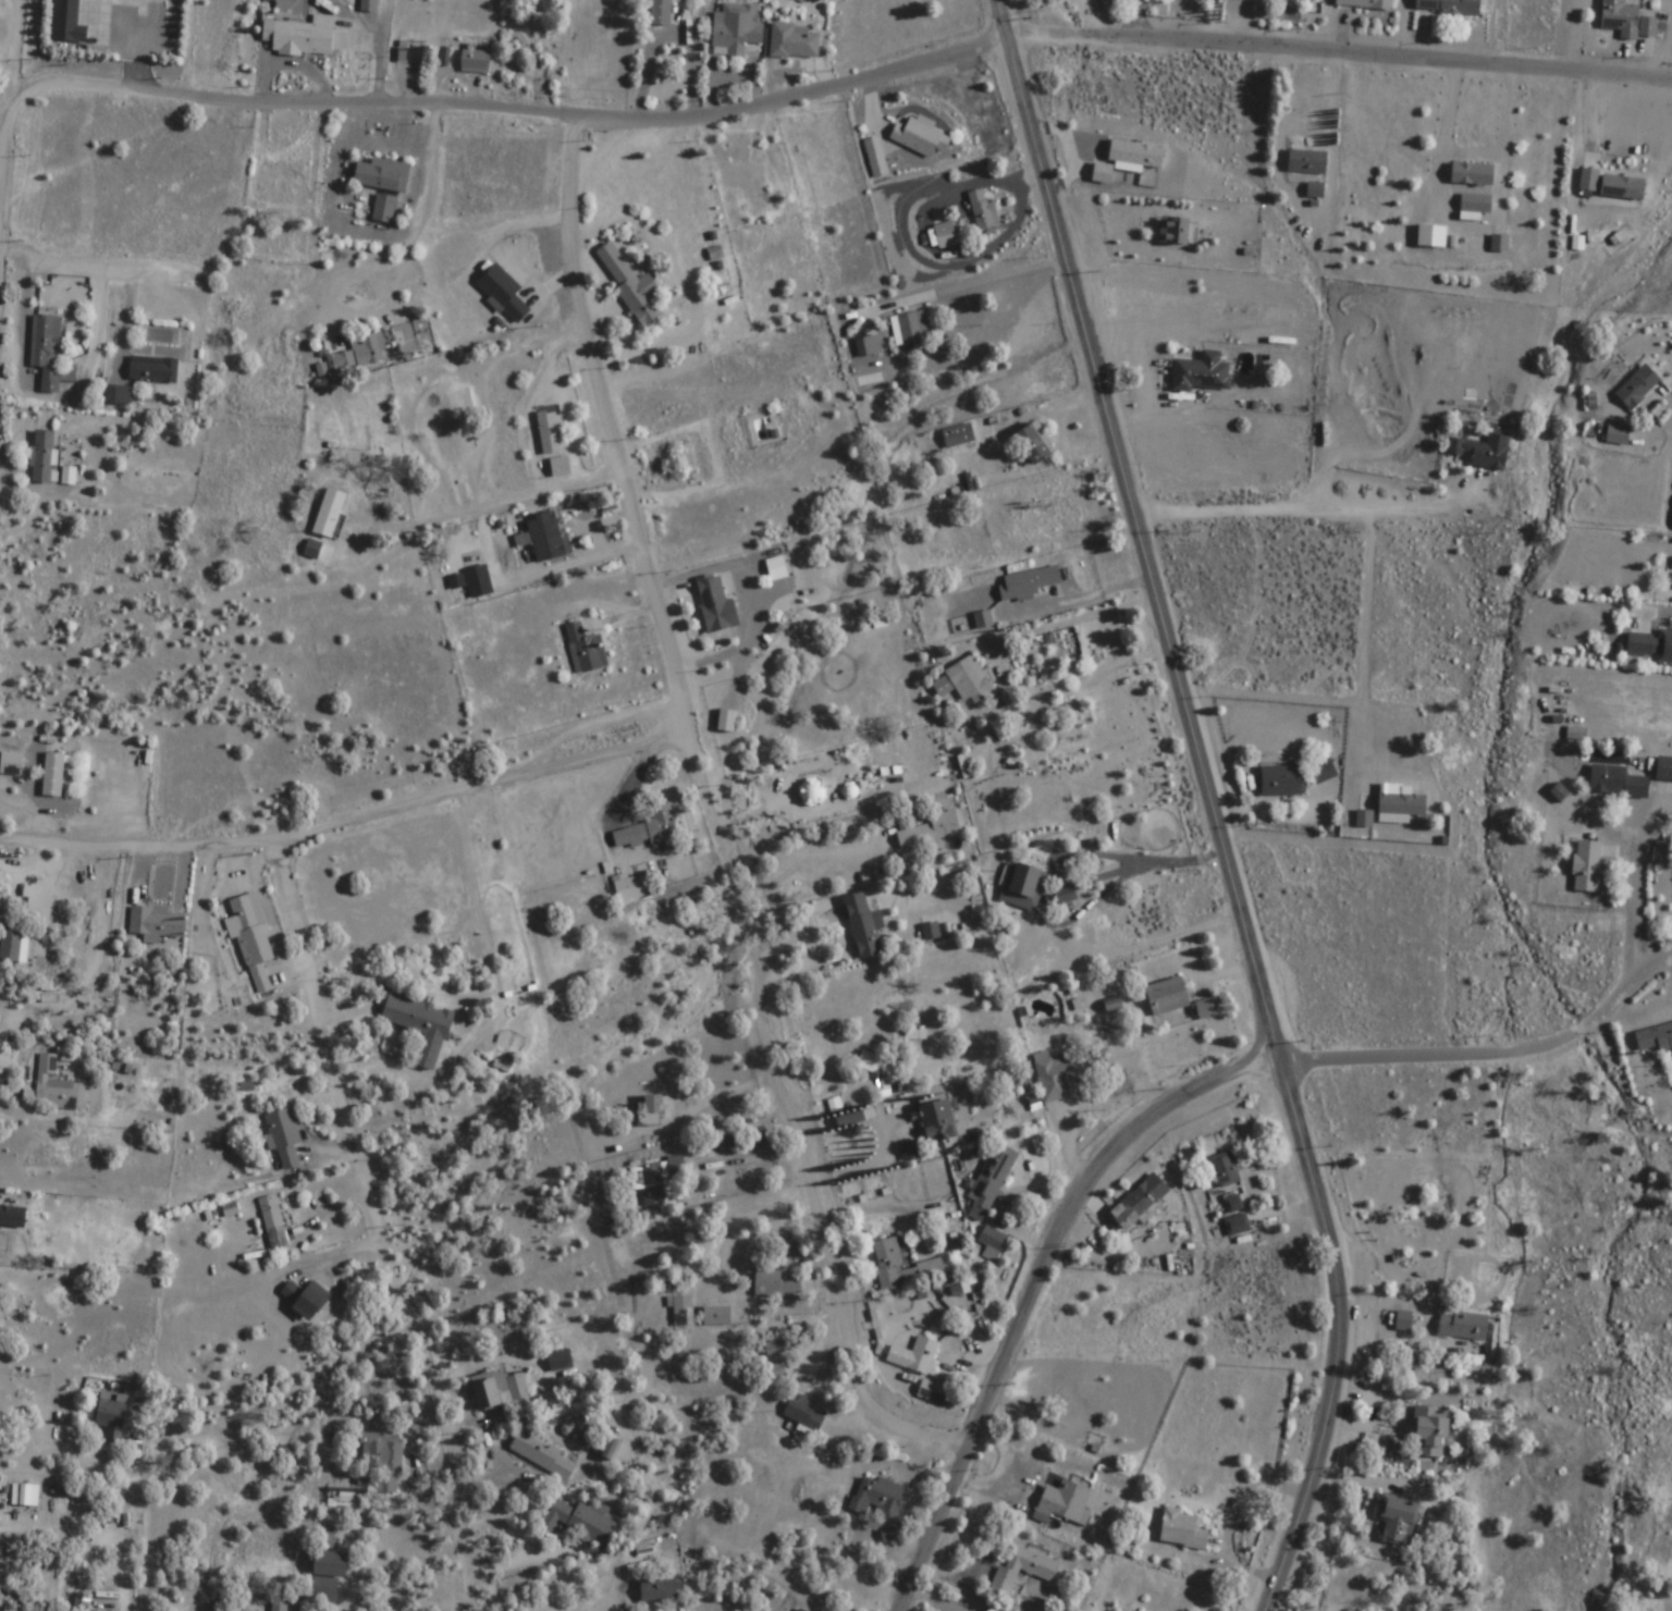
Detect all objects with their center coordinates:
building: (1273, 1)
building: (1366, 4)
building: (1450, 7)
building: (660, 12)
building: (1621, 19)
building: (67, 23)
building: (1648, 27)
building: (737, 30)
road: (1433, 30)
building: (300, 37)
building: (794, 41)
building: (475, 58)
road: (1540, 73)
road: (803, 97)
road: (16, 104)
building: (920, 137)
building: (1135, 155)
building: (876, 158)
building: (1306, 161)
building: (1102, 173)
building: (1472, 174)
building: (382, 175)
building: (1588, 180)
building: (742, 181)
building: (279, 187)
building: (1622, 187)
building: (1315, 190)
building: (1475, 202)
building: (384, 209)
building: (983, 210)
building: (733, 214)
building: (944, 231)
building: (1172, 231)
building: (1431, 235)
building: (1499, 243)
building: (631, 288)
building: (503, 294)
building: (913, 329)
building: (868, 347)
building: (47, 352)
building: (356, 355)
building: (152, 370)
building: (1202, 374)
building: (1637, 388)
building: (118, 395)
building: (796, 425)
building: (446, 429)
building: (550, 433)
building: (1618, 435)
building: (957, 436)
building: (1033, 444)
building: (734, 447)
building: (1482, 453)
building: (41, 457)
building: (563, 468)
road: (1296, 513)
building: (1054, 520)
building: (536, 531)
road: (1140, 532)
building: (307, 548)
building: (776, 564)
building: (474, 575)
building: (1029, 585)
building: (715, 606)
building: (983, 618)
building: (1651, 647)
building: (585, 649)
building: (969, 678)
building: (1576, 733)
building: (1324, 771)
building: (53, 774)
building: (1281, 779)
building: (1612, 780)
building: (815, 786)
building: (1399, 803)
building: (1364, 817)
road: (716, 820)
road: (347, 822)
building: (931, 828)
building: (646, 829)
building: (1586, 865)
road: (1635, 880)
building: (1022, 886)
building: (632, 887)
building: (1066, 895)
building: (157, 922)
building: (863, 925)
building: (251, 938)
building: (10, 946)
building: (1168, 996)
building: (419, 1025)
building: (1655, 1040)
road: (1492, 1056)
building: (1055, 1079)
building: (56, 1086)
building: (652, 1104)
building: (937, 1127)
building: (284, 1136)
building: (1225, 1169)
building: (651, 1183)
building: (1139, 1201)
building: (1234, 1203)
building: (230, 1209)
building: (985, 1210)
building: (2, 1219)
building: (273, 1222)
building: (1238, 1225)
road: (380, 1232)
building: (902, 1265)
building: (775, 1283)
road: (1031, 1287)
building: (306, 1299)
building: (716, 1315)
building: (1464, 1326)
road: (1342, 1339)
building: (915, 1355)
building: (560, 1361)
building: (500, 1389)
building: (935, 1393)
building: (803, 1412)
building: (111, 1418)
building: (1431, 1432)
building: (541, 1454)
building: (380, 1462)
building: (24, 1495)
building: (878, 1502)
building: (1066, 1503)
building: (1398, 1520)
building: (579, 1524)
building: (1182, 1529)
building: (1023, 1569)
building: (327, 1576)
building: (800, 1610)

